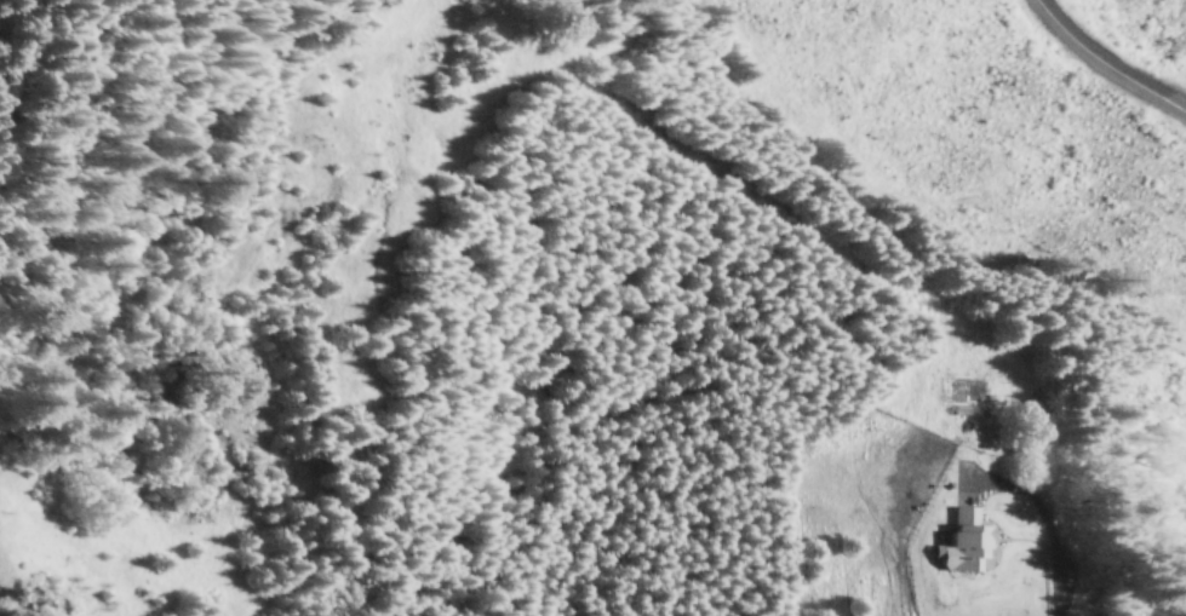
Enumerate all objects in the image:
road: (1107, 68)
building: (966, 545)

